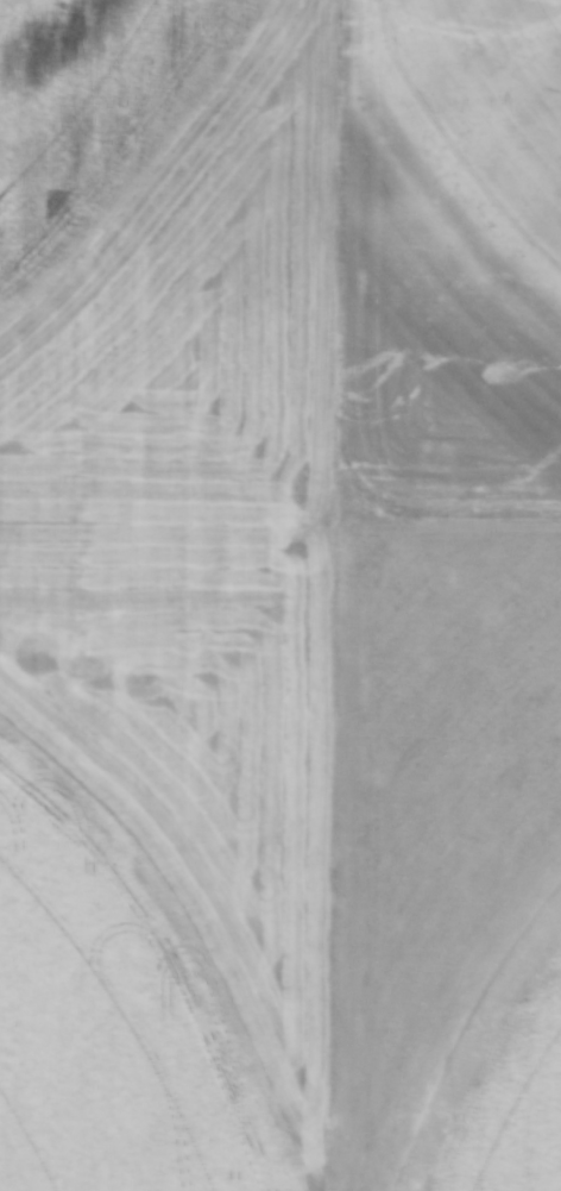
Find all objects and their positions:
crop: (537, 32)
crop: (244, 666)

